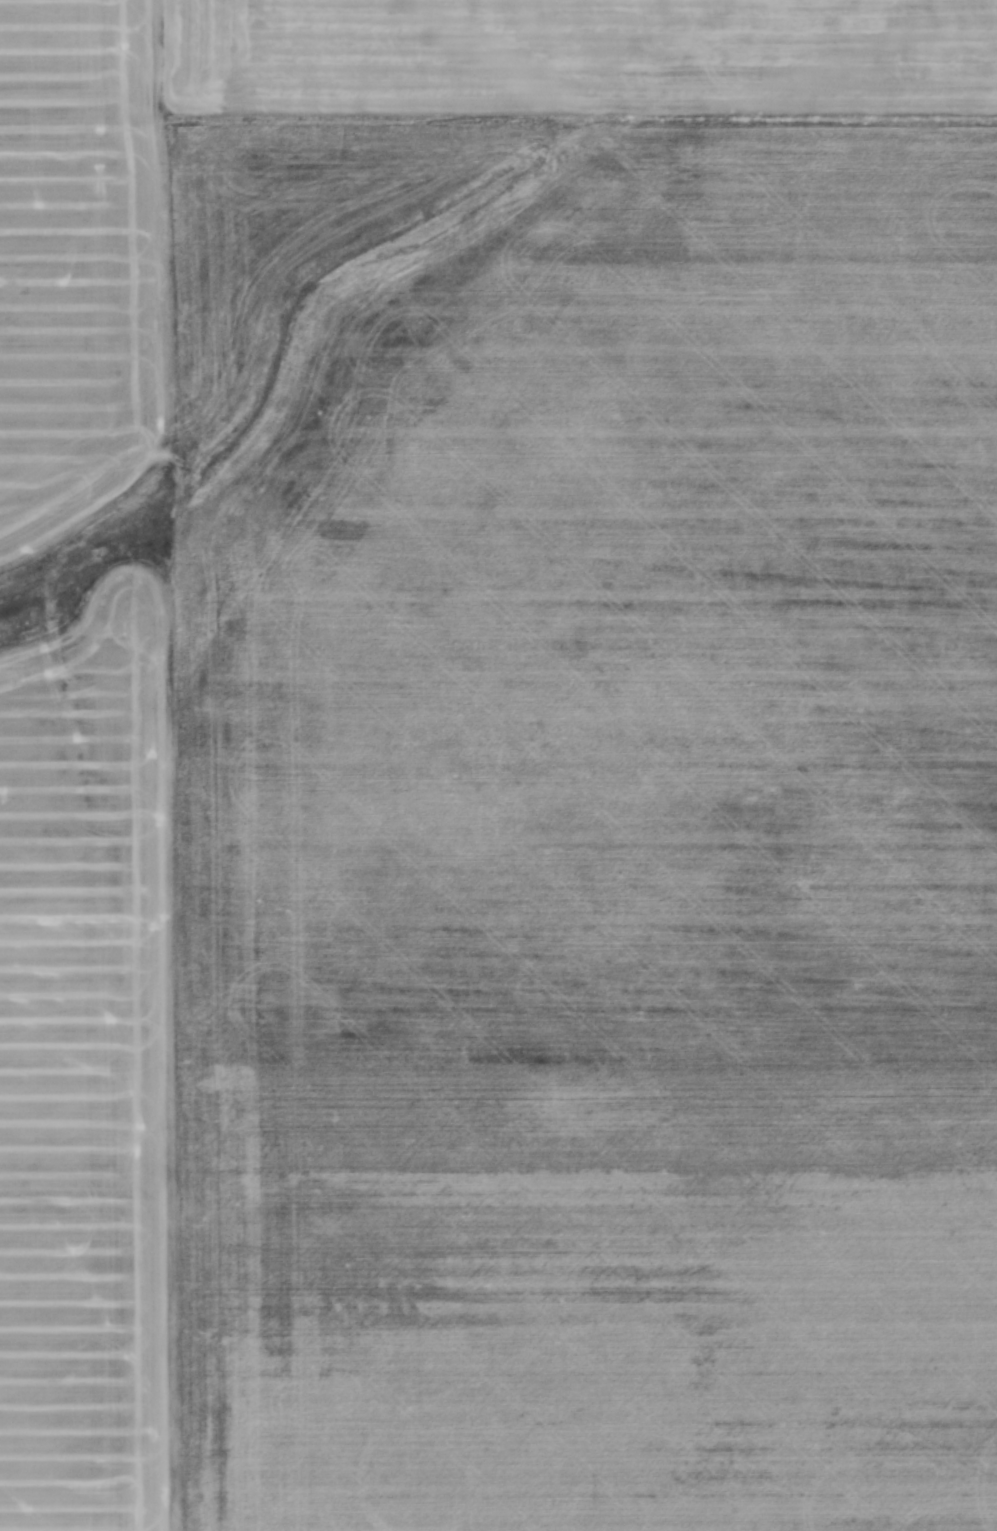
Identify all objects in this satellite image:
crop: (555, 838)

